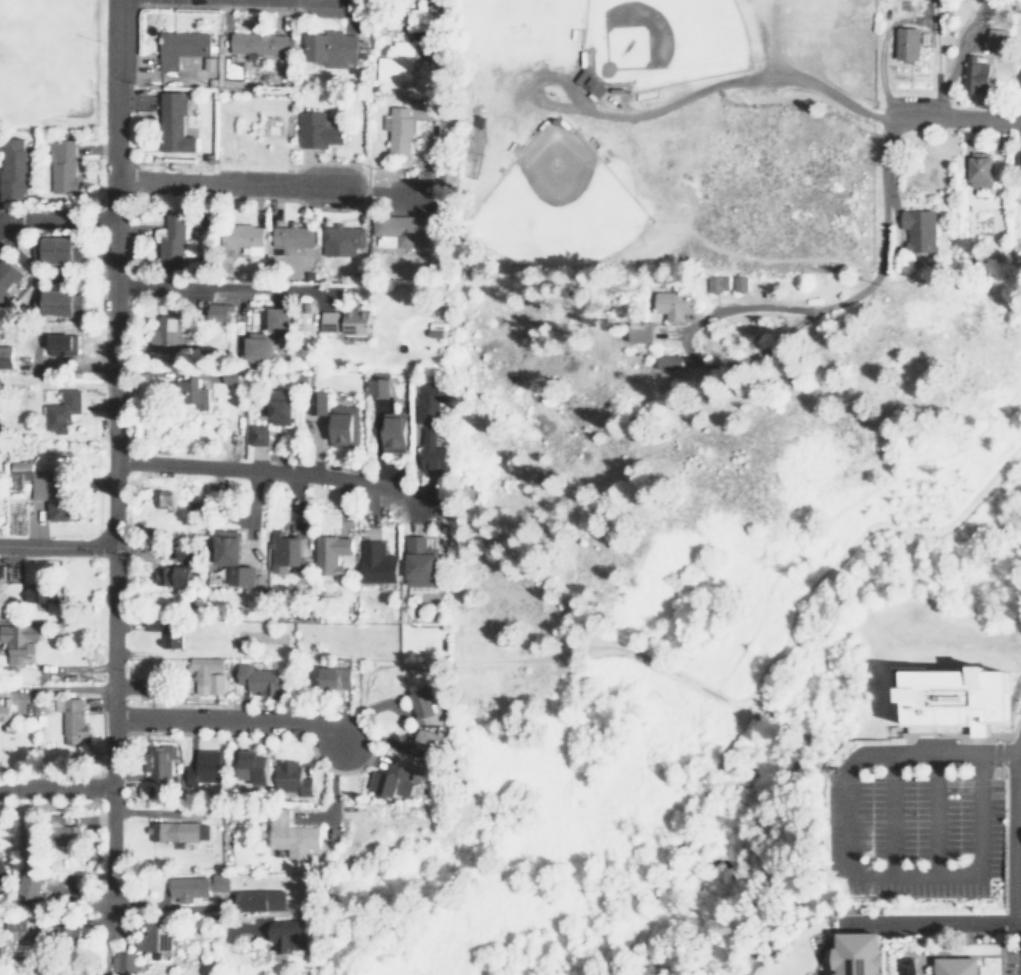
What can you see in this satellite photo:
park: (805, 4)
road: (180, 5)
park: (518, 28)
building: (997, 37)
park: (658, 40)
building: (906, 43)
building: (259, 44)
building: (178, 47)
building: (331, 48)
park: (47, 57)
building: (396, 63)
road: (450, 73)
building: (976, 77)
road: (694, 91)
road: (950, 118)
building: (171, 123)
building: (318, 129)
building: (398, 129)
building: (1016, 160)
building: (62, 165)
building: (980, 169)
building: (14, 171)
road: (224, 182)
park: (553, 204)
road: (2, 219)
road: (59, 220)
road: (2, 221)
building: (402, 227)
building: (920, 229)
building: (292, 235)
road: (880, 235)
building: (243, 236)
building: (342, 239)
building: (173, 242)
building: (61, 250)
road: (115, 273)
building: (8, 276)
building: (718, 283)
building: (741, 283)
road: (225, 286)
building: (60, 302)
building: (674, 304)
building: (218, 313)
building: (280, 319)
building: (346, 322)
building: (436, 328)
building: (640, 332)
building: (167, 336)
building: (61, 344)
building: (260, 347)
road: (743, 357)
building: (672, 363)
building: (380, 387)
building: (189, 393)
building: (318, 403)
building: (280, 407)
building: (62, 410)
building: (431, 424)
building: (345, 426)
building: (394, 432)
building: (258, 434)
road: (250, 468)
building: (44, 490)
road: (57, 545)
building: (285, 552)
building: (331, 553)
building: (234, 558)
building: (376, 562)
building: (421, 562)
building: (174, 576)
building: (37, 593)
building: (165, 632)
building: (18, 640)
road: (538, 656)
road: (766, 670)
building: (208, 674)
building: (335, 677)
building: (258, 679)
building: (949, 695)
building: (423, 703)
building: (71, 719)
road: (230, 720)
road: (770, 721)
road: (113, 731)
road: (969, 734)
building: (430, 744)
building: (160, 762)
building: (253, 766)
building: (205, 767)
building: (293, 777)
building: (392, 780)
road: (53, 791)
road: (333, 794)
road: (888, 815)
road: (934, 815)
road: (776, 817)
parking lot: (916, 823)
road: (1012, 828)
building: (62, 831)
building: (173, 831)
building: (291, 834)
road: (846, 861)
building: (2, 874)
building: (197, 885)
building: (32, 886)
building: (261, 899)
road: (186, 907)
road: (932, 922)
building: (22, 928)
building: (290, 935)
building: (154, 936)
road: (820, 945)
road: (998, 949)
road: (1019, 949)
building: (860, 952)
building: (124, 961)
building: (905, 965)
building: (957, 965)

